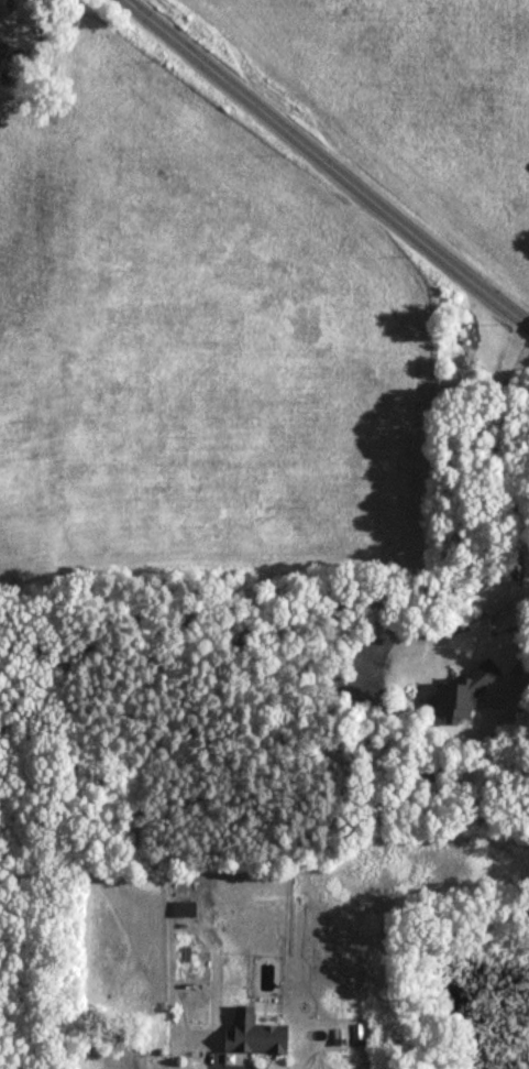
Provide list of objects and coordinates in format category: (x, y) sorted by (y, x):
building: (1, 2)
building: (2, 48)
road: (327, 164)
road: (499, 440)
building: (458, 698)
building: (252, 1035)
road: (228, 1067)

